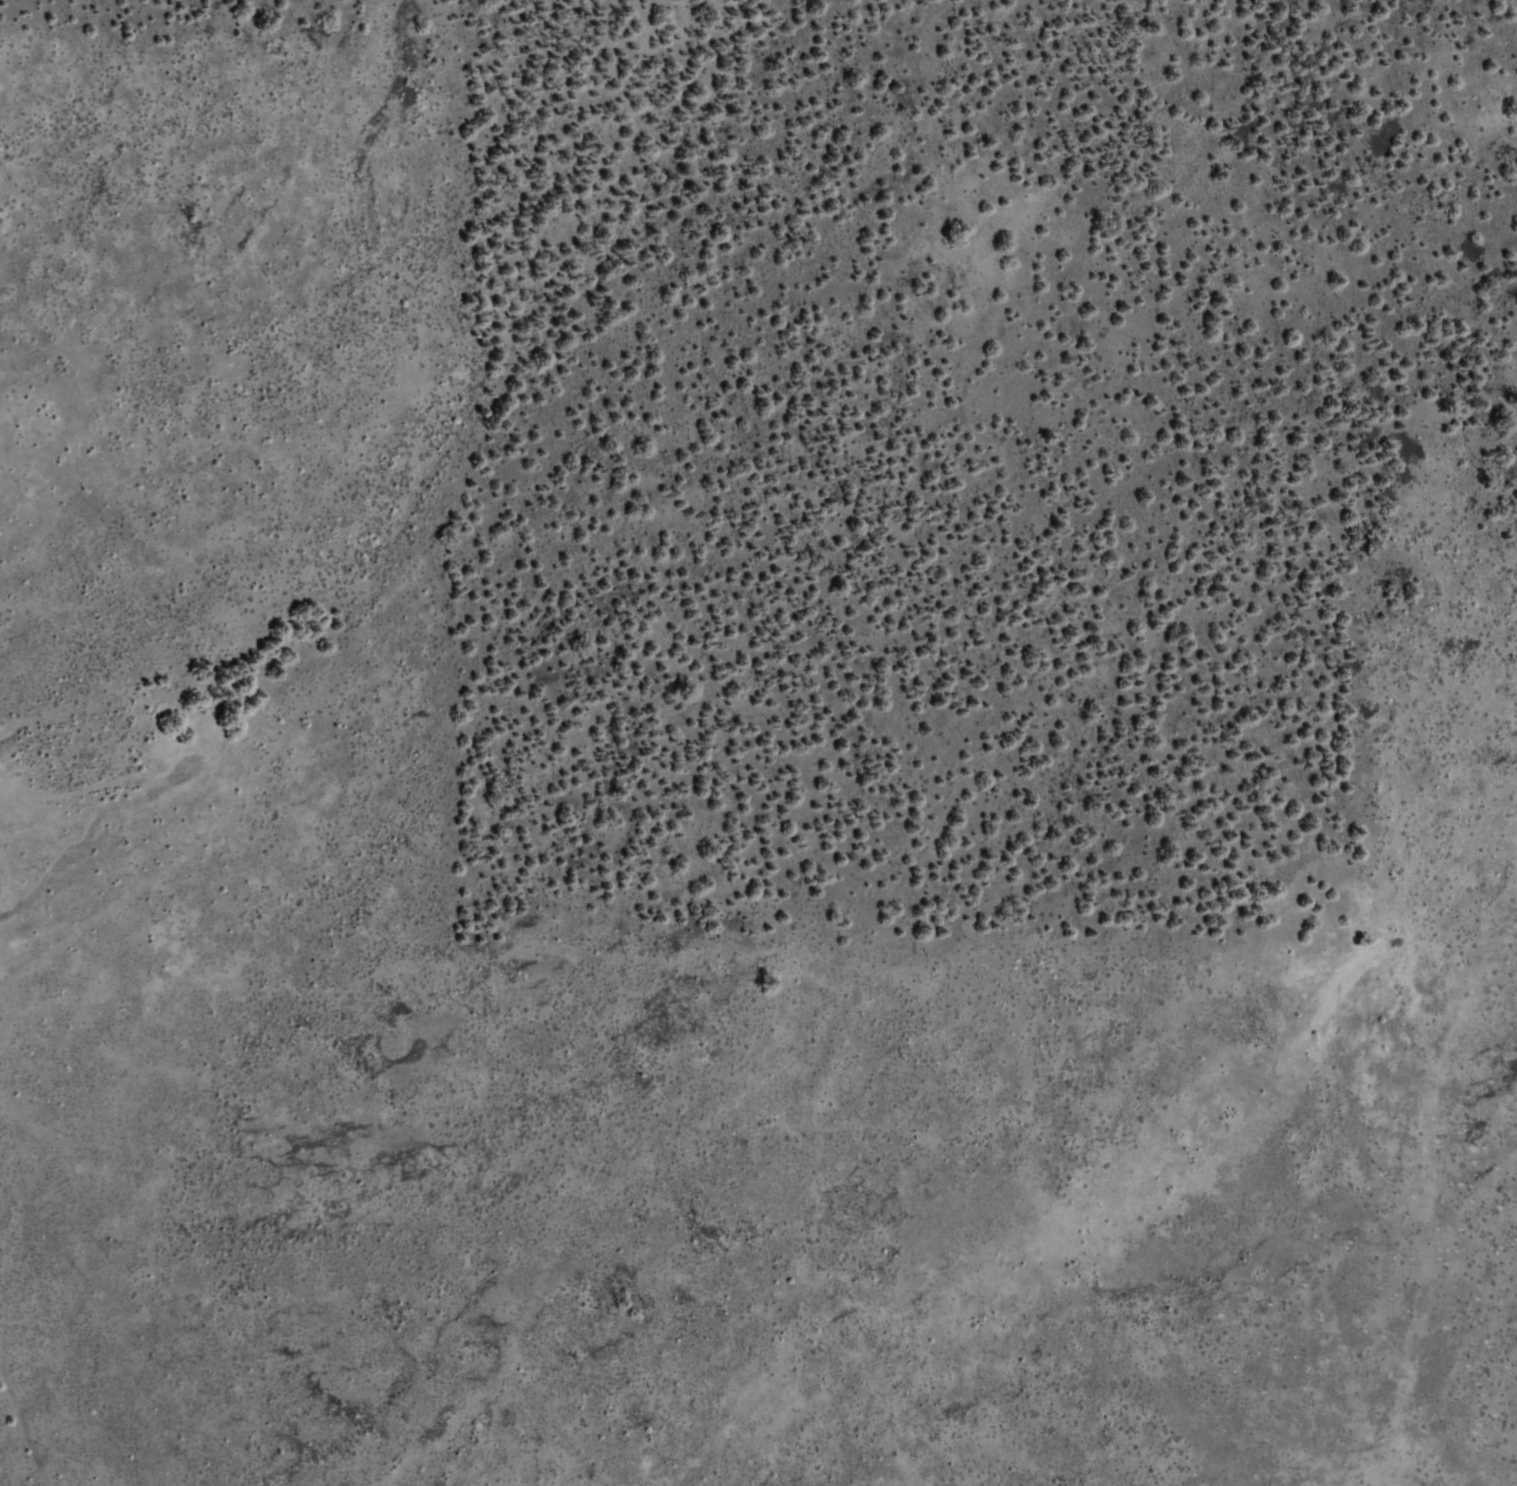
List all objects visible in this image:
road: (22, 1424)

